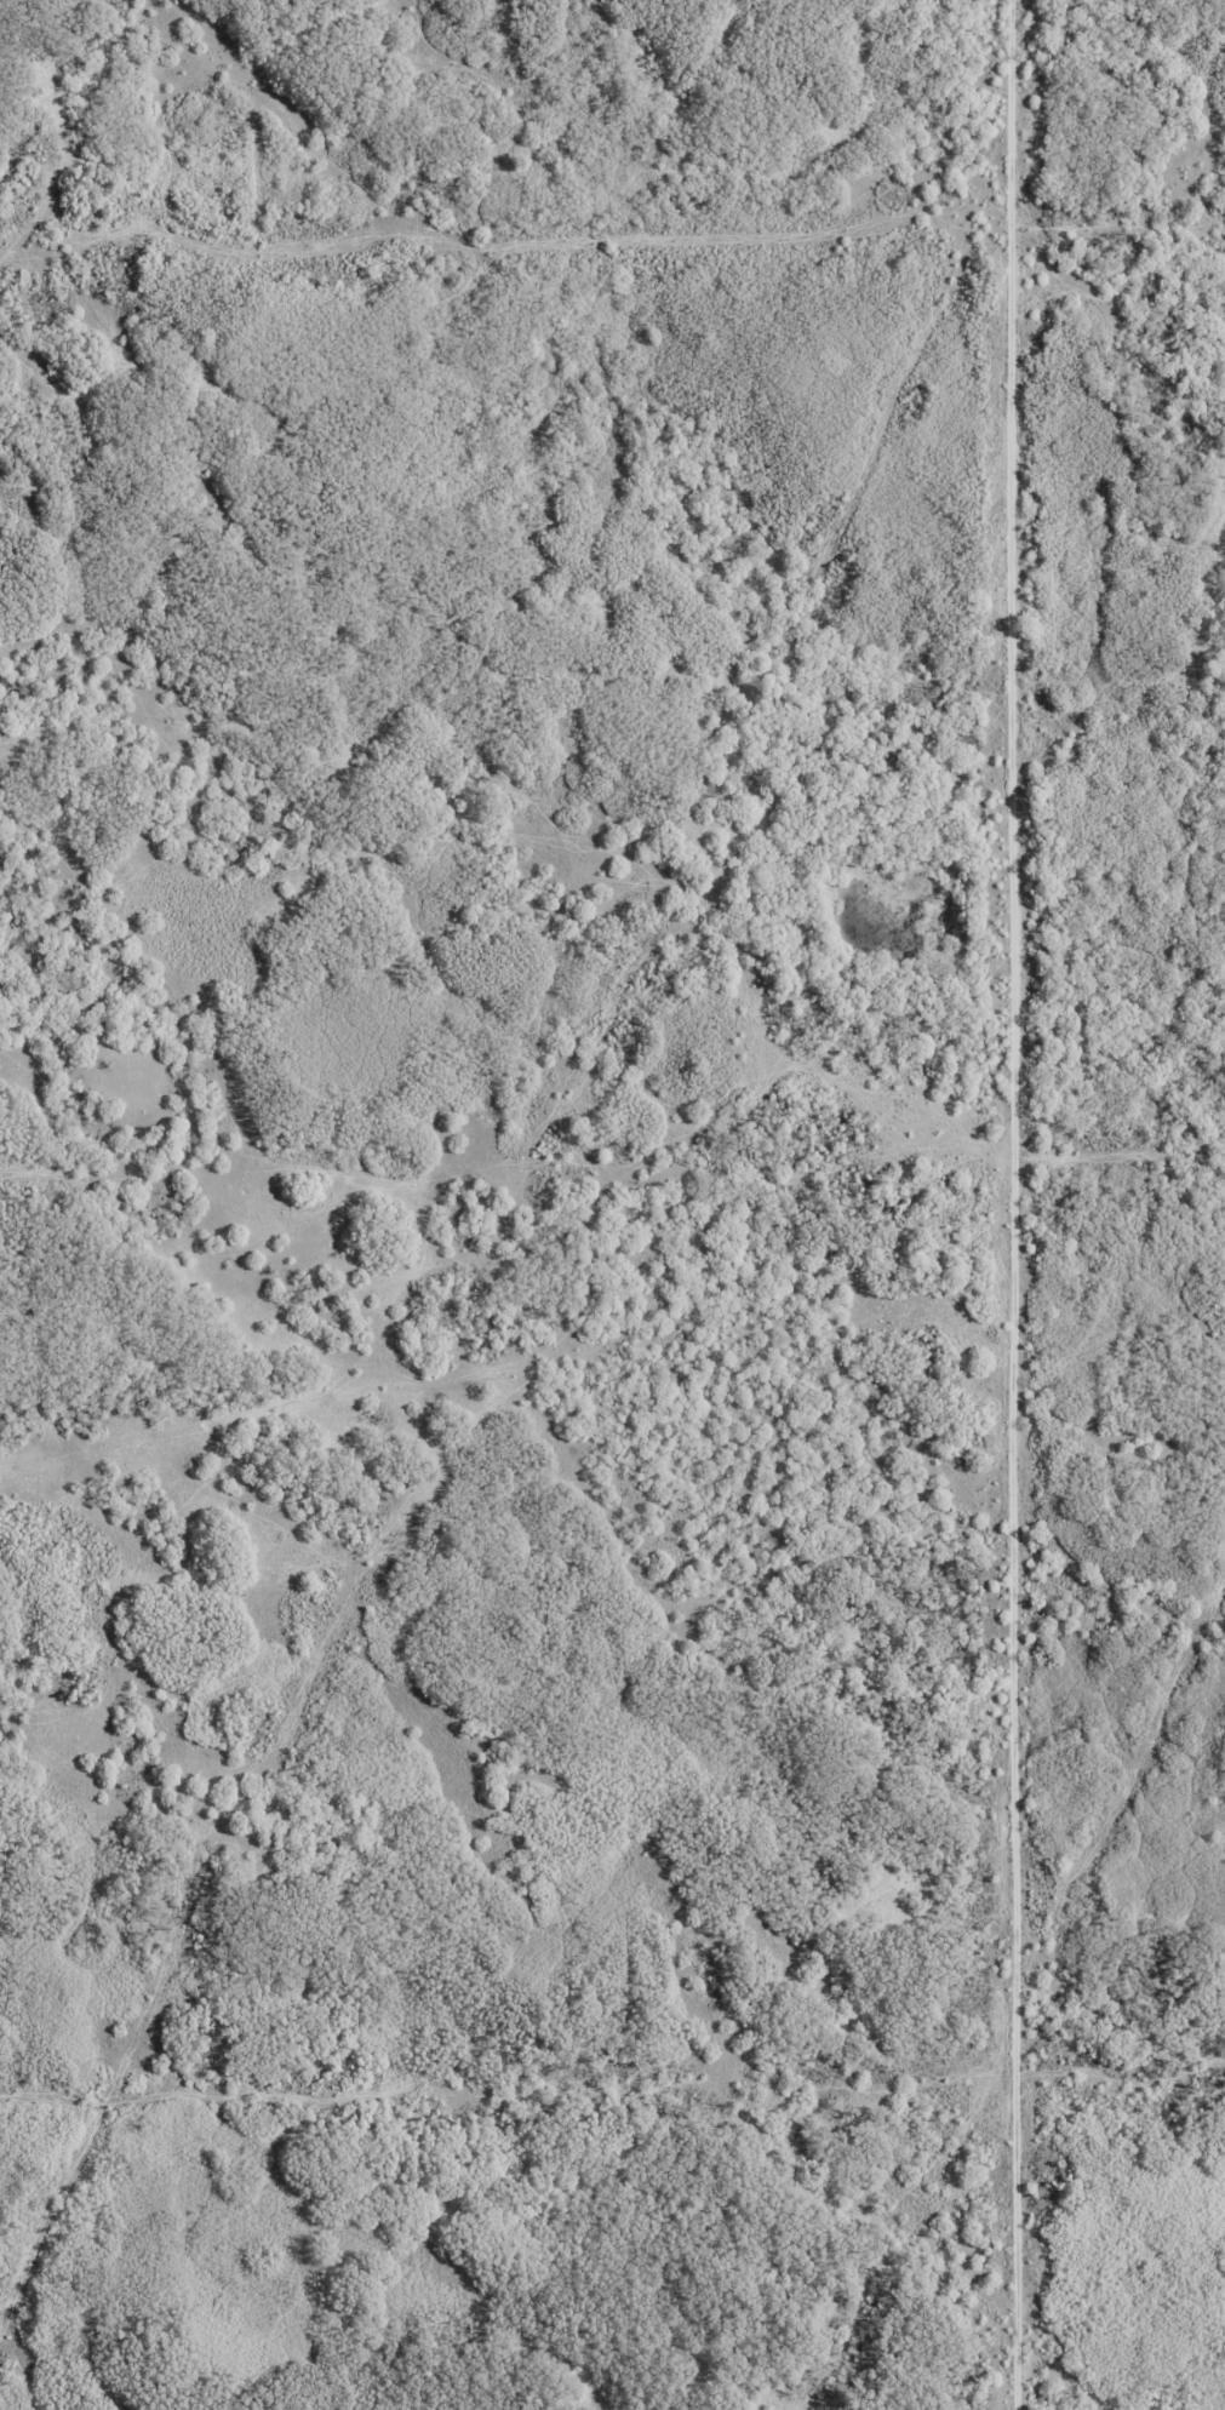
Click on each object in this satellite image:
road: (1013, 1204)

